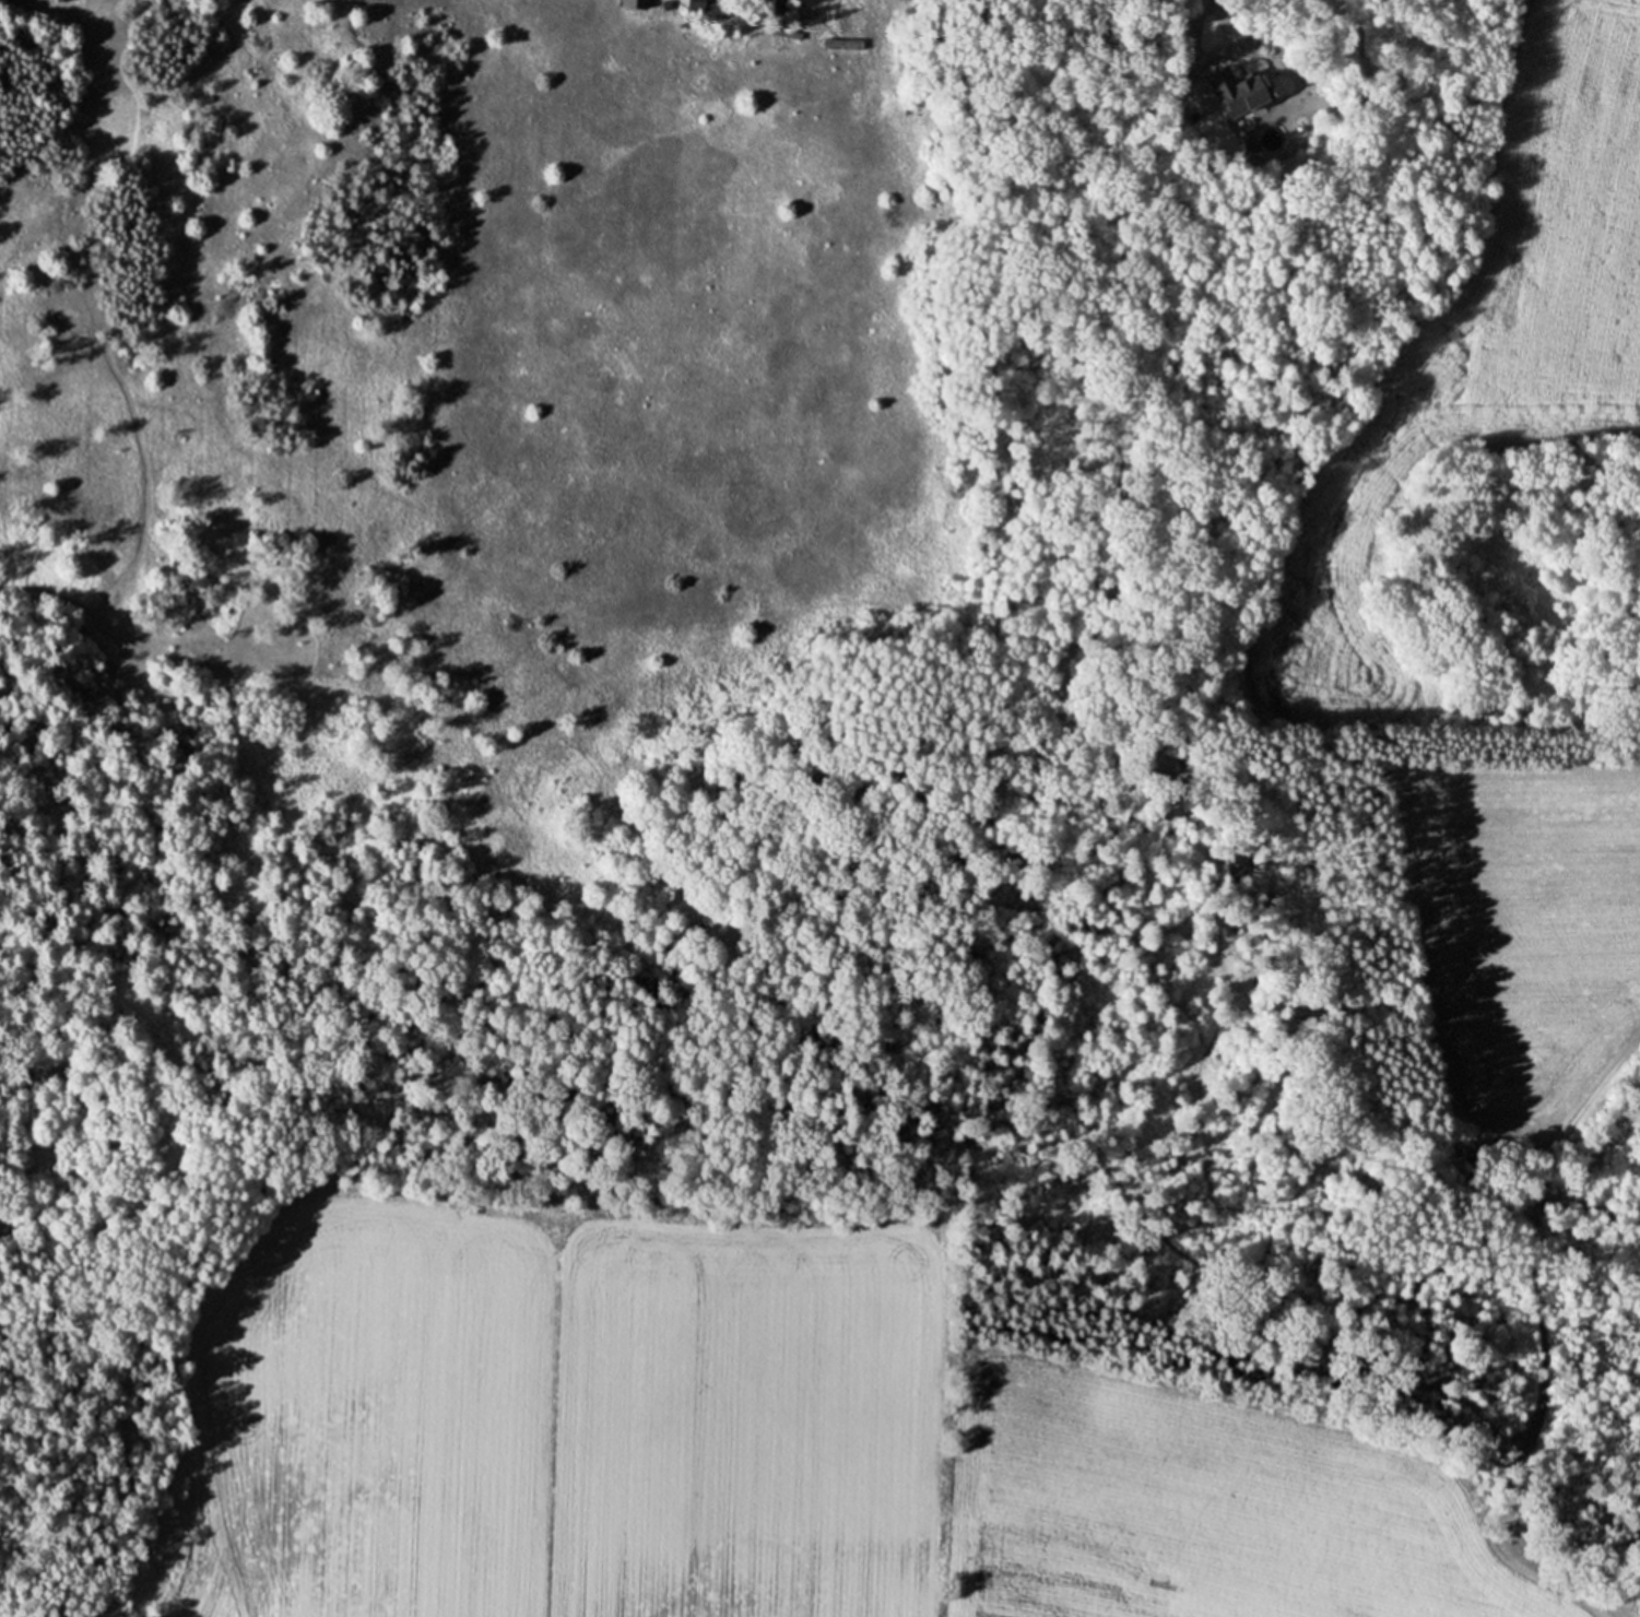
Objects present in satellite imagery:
building: (634, 2)

